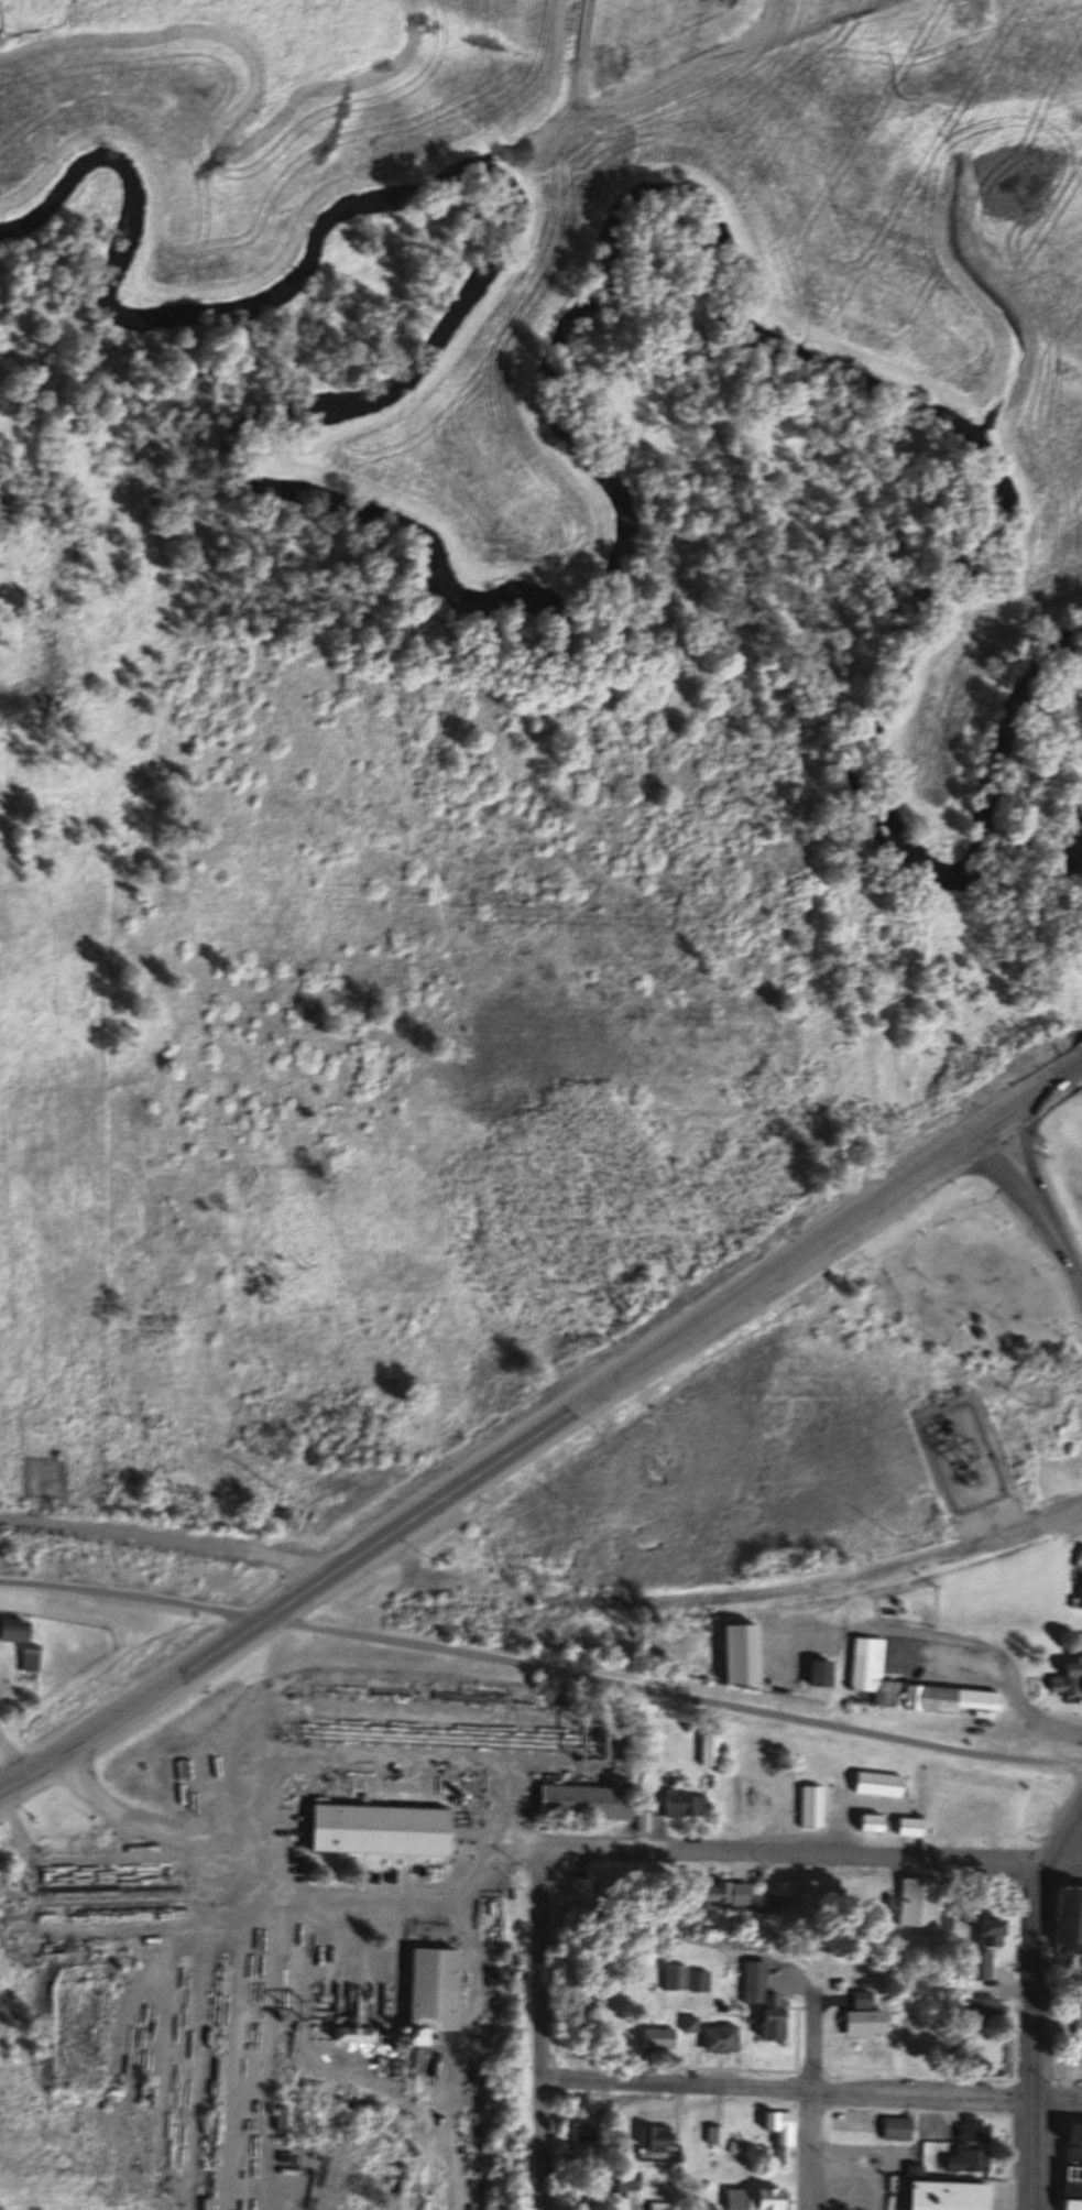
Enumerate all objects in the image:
road: (1079, 1060)
road: (1028, 1095)
road: (1025, 1161)
road: (1032, 1207)
power substation: (961, 1458)
road: (495, 1467)
building: (55, 1490)
road: (175, 1544)
building: (1078, 1556)
road: (878, 1572)
building: (1076, 1593)
building: (11, 1629)
road: (975, 1644)
building: (736, 1653)
building: (28, 1656)
building: (818, 1673)
road: (540, 1674)
building: (1064, 1678)
building: (870, 1679)
building: (947, 1697)
building: (709, 1749)
road: (13, 1750)
building: (876, 1784)
building: (580, 1803)
building: (685, 1804)
road: (851, 1805)
building: (809, 1806)
building: (870, 1821)
building: (909, 1826)
road: (153, 1830)
building: (374, 1830)
road: (1062, 1831)
road: (794, 1853)
road: (1063, 1862)
building: (712, 1894)
building: (916, 1902)
building: (1065, 1913)
building: (976, 1949)
building: (750, 1974)
building: (670, 1977)
road: (1035, 1980)
building: (697, 1981)
building: (428, 1988)
building: (855, 1999)
building: (973, 2011)
building: (769, 2016)
building: (860, 2023)
building: (686, 2024)
road: (540, 2027)
building: (1075, 2027)
road: (696, 2032)
building: (654, 2038)
building: (718, 2038)
road: (797, 2038)
road: (1053, 2044)
road: (1010, 2056)
road: (731, 2068)
road: (787, 2088)
road: (812, 2099)
road: (1059, 2100)
road: (947, 2111)
road: (1046, 2115)
parking lot: (854, 2122)
building: (779, 2125)
parking lot: (936, 2126)
building: (894, 2129)
building: (969, 2129)
building: (1071, 2132)
building: (582, 2133)
building: (714, 2134)
building: (655, 2136)
building: (1071, 2153)
road: (1035, 2155)
building: (964, 2158)
building: (912, 2168)
parking lot: (853, 2175)
building: (620, 2180)
building: (1070, 2180)
building: (941, 2195)
building: (755, 2197)
building: (1070, 2203)
building: (657, 2204)
road: (631, 2206)

